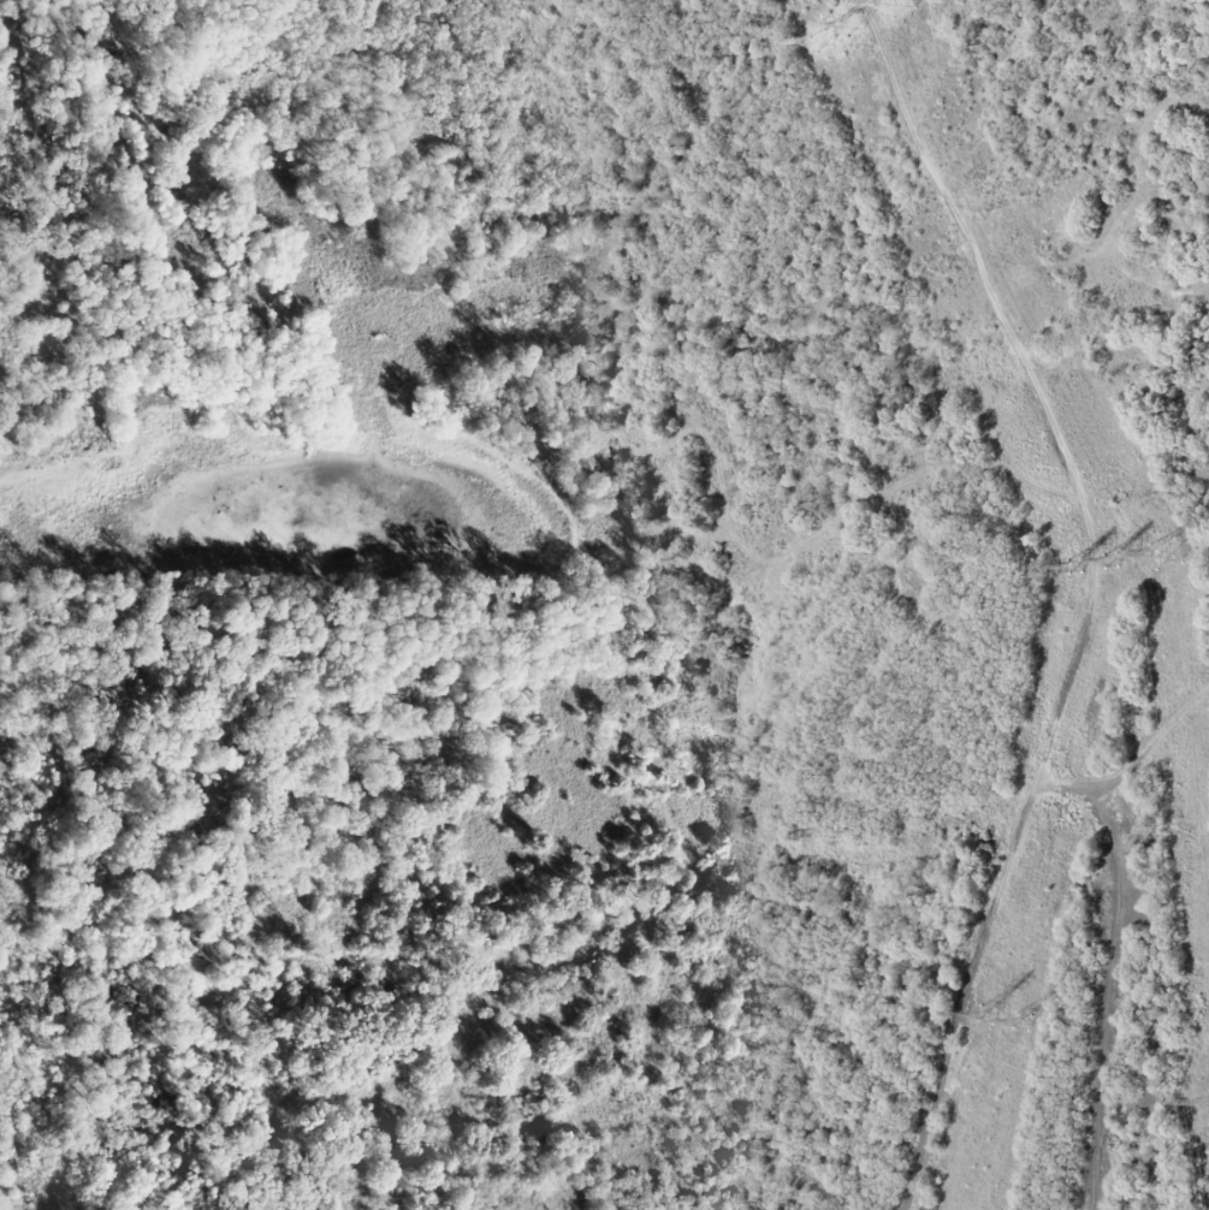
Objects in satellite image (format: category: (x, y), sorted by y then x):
power tower: (900, 2)
power tower: (852, 28)
power tower: (822, 45)
power tower: (1169, 552)
power tower: (1109, 563)
power tower: (1073, 568)
road: (1094, 594)
road: (1134, 763)
power tower: (978, 1010)
power tower: (1023, 1019)

